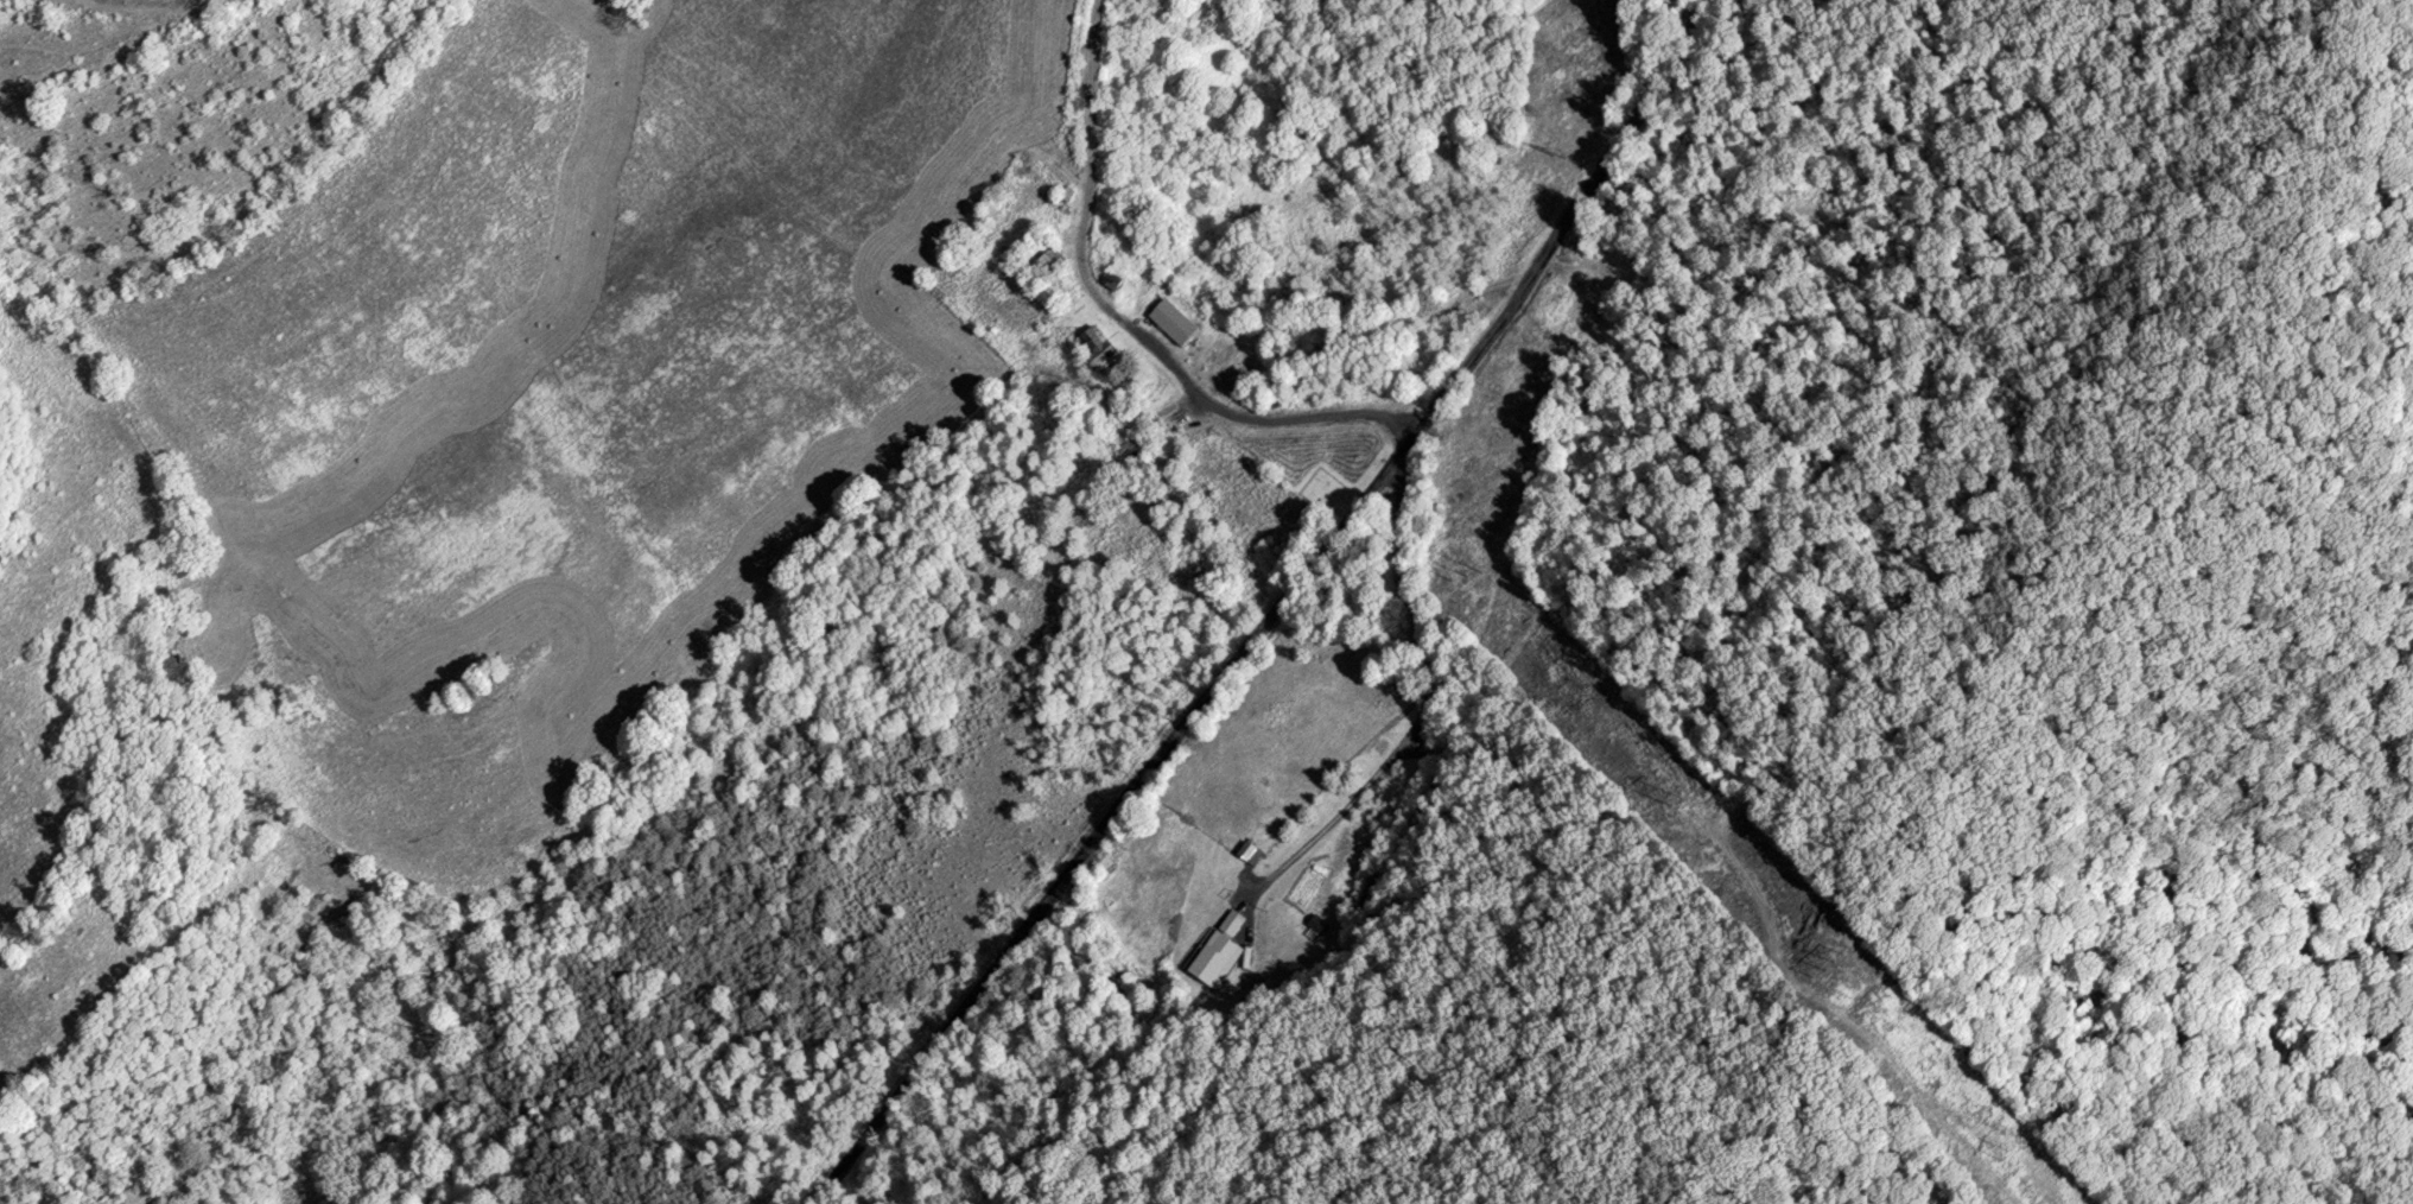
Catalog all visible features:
road: (127, 7)
road: (1681, 58)
power tower: (1561, 158)
road: (1124, 319)
building: (1170, 325)
building: (1097, 351)
power tower: (1462, 579)
road: (1234, 661)
road: (1424, 705)
power tower: (1671, 806)
building: (1246, 853)
building: (1317, 923)
building: (1218, 955)
power tower: (1825, 969)

